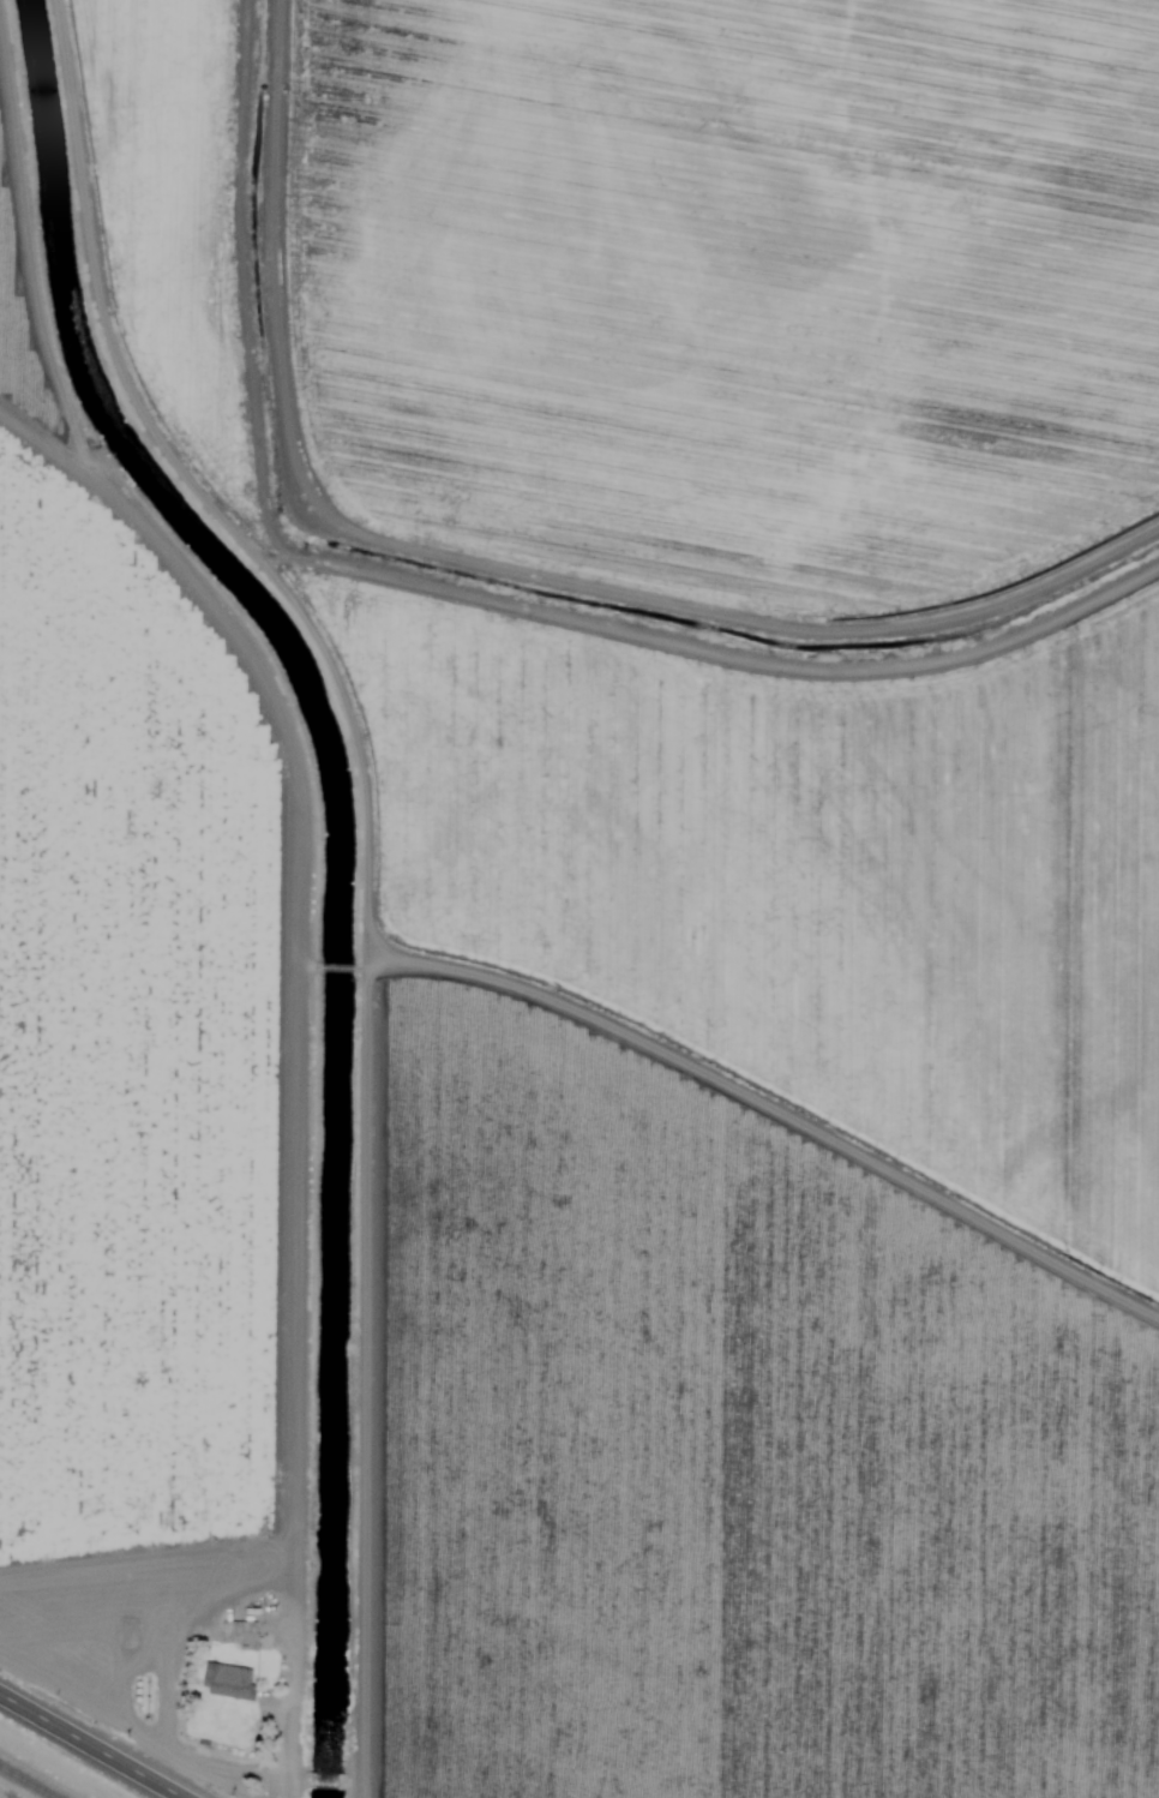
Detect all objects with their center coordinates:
crop: (722, 508)
road: (364, 856)
crop: (133, 1013)
road: (776, 1123)
crop: (746, 1481)
road: (88, 1748)
railway: (24, 1784)

